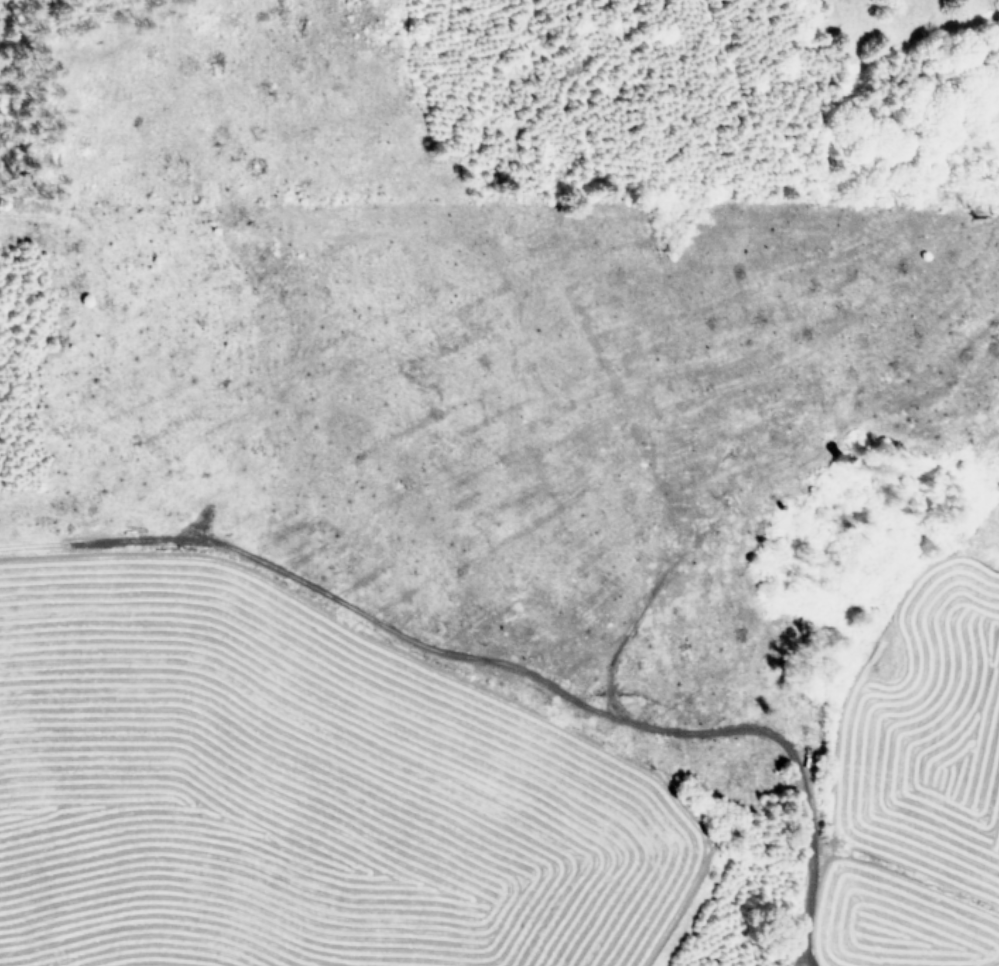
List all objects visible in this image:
crop: (904, 789)

